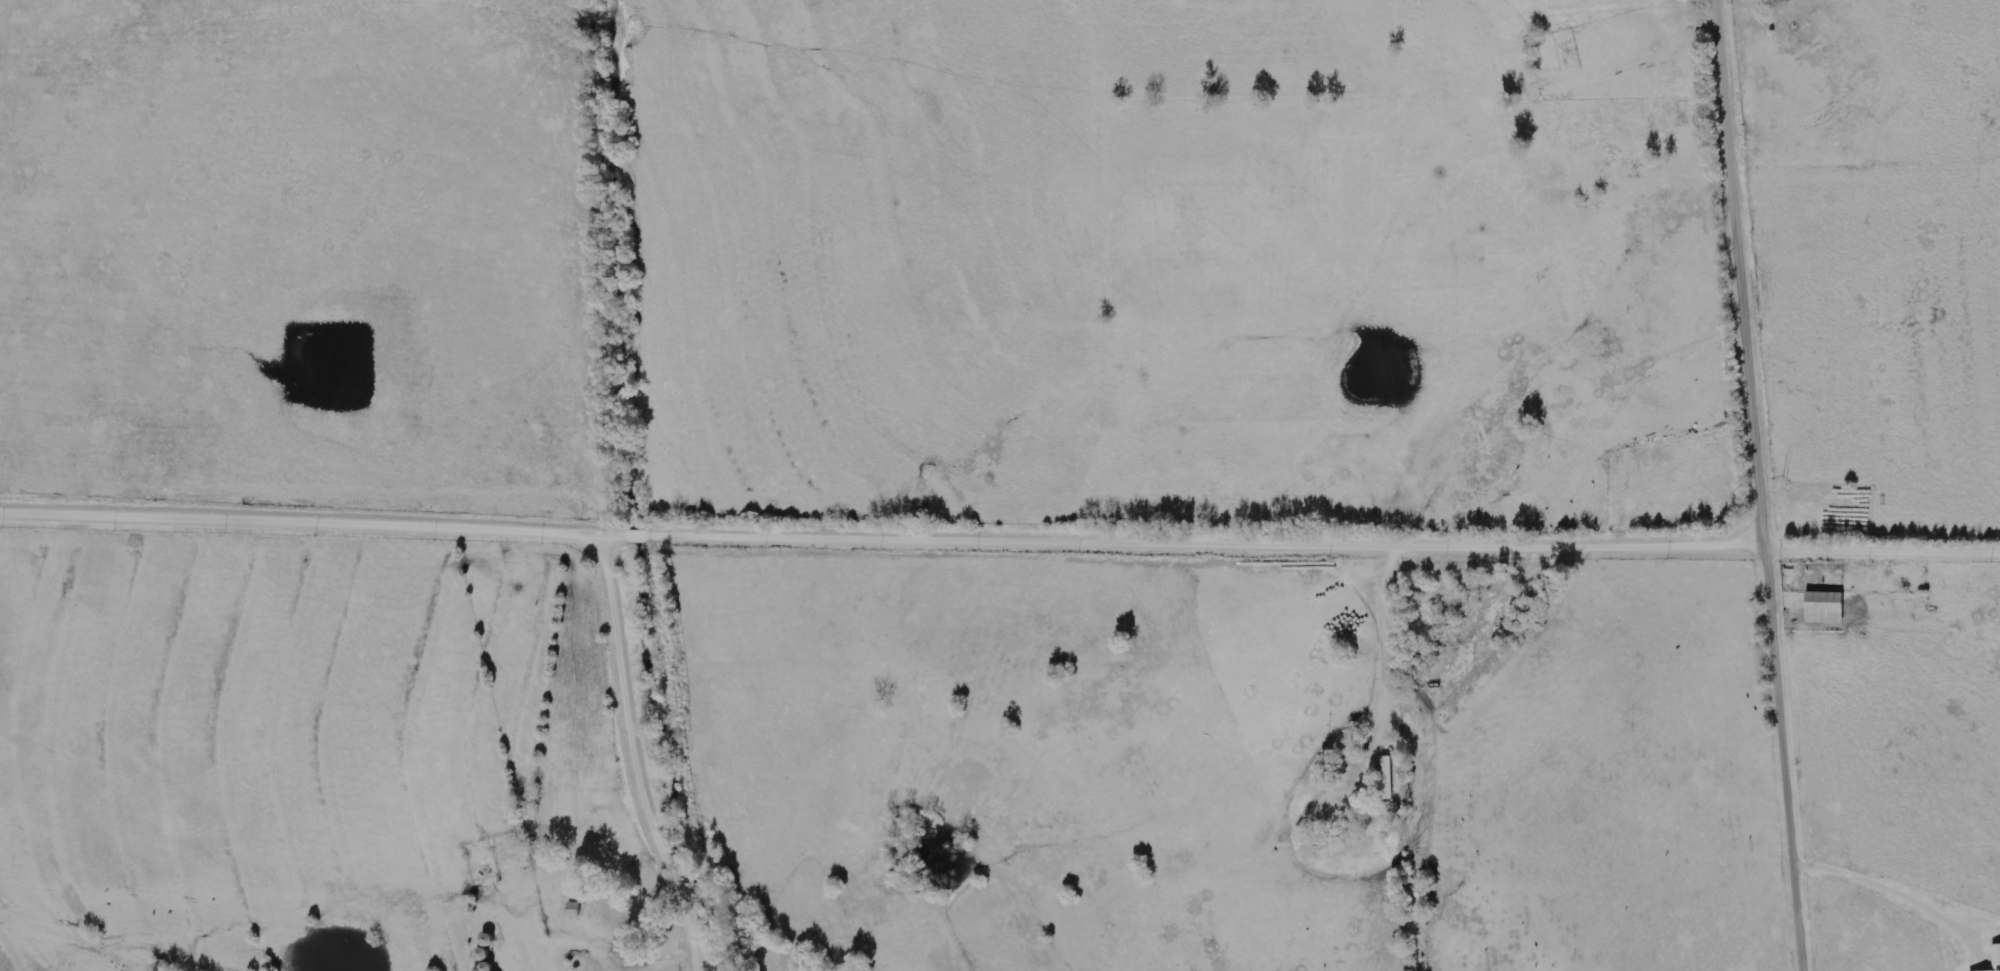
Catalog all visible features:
road: (1764, 485)
road: (884, 535)
road: (1884, 547)
building: (1826, 608)
road: (640, 756)
building: (1386, 780)
building: (574, 910)
building: (1997, 955)

